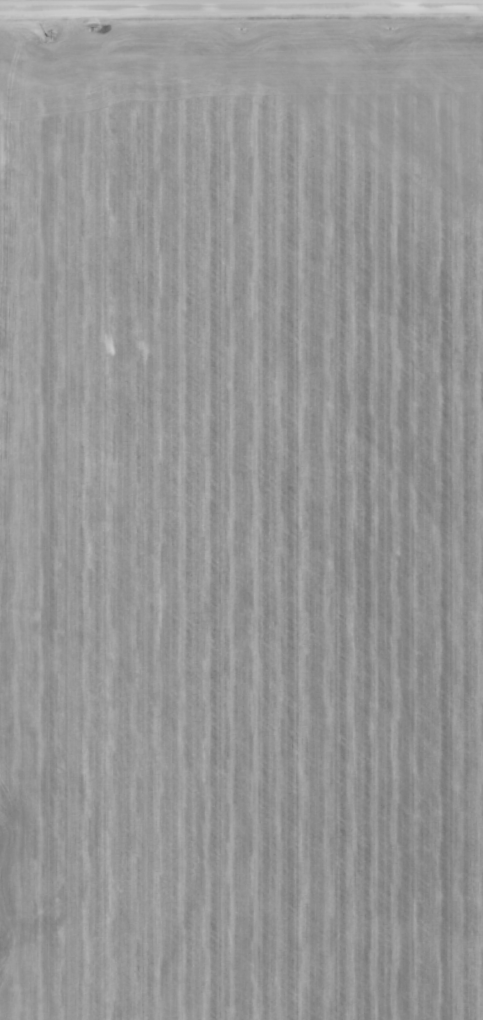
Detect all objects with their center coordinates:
road: (241, 4)

